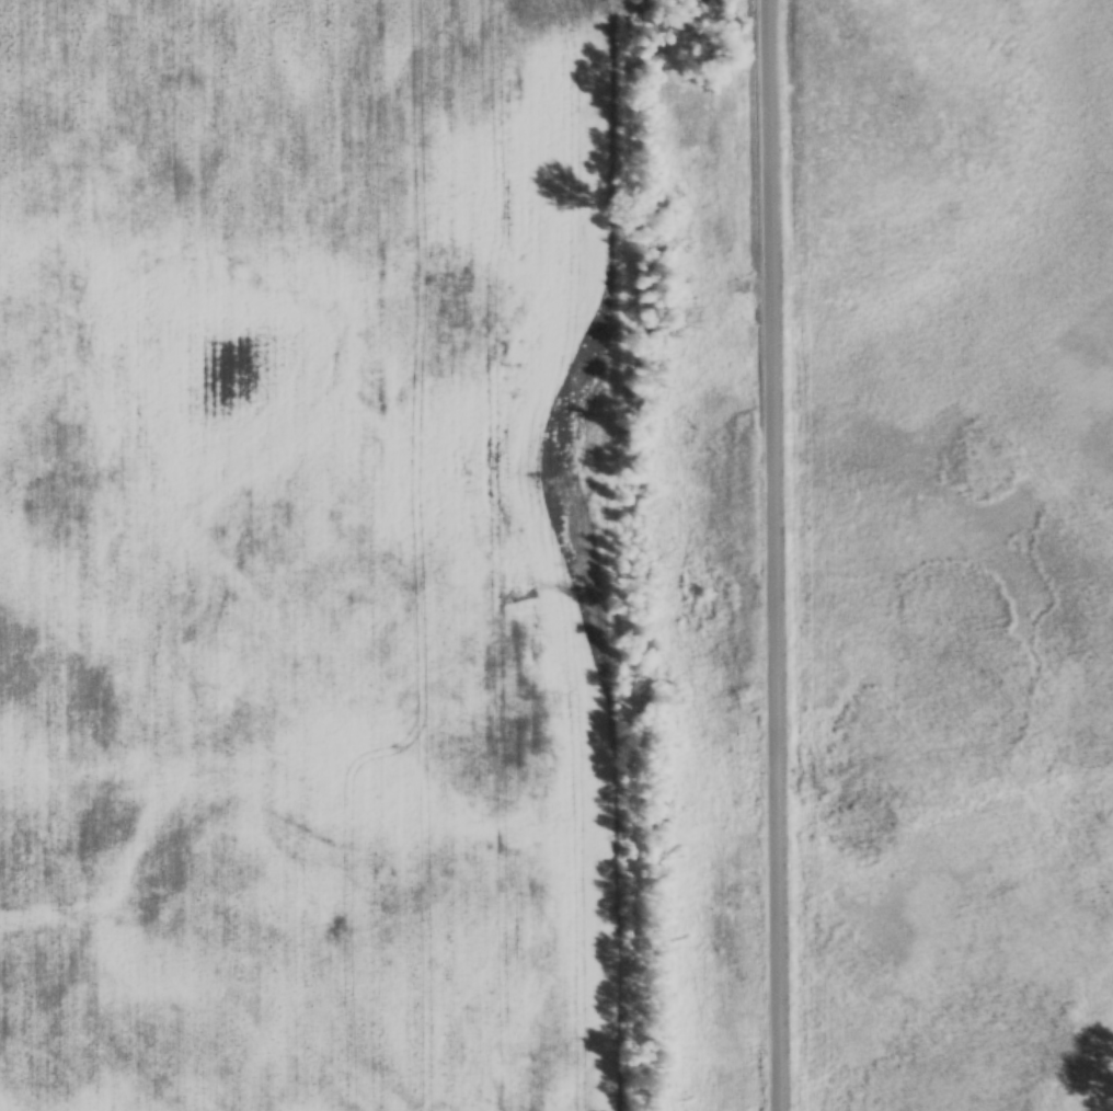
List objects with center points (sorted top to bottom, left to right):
road: (773, 555)

